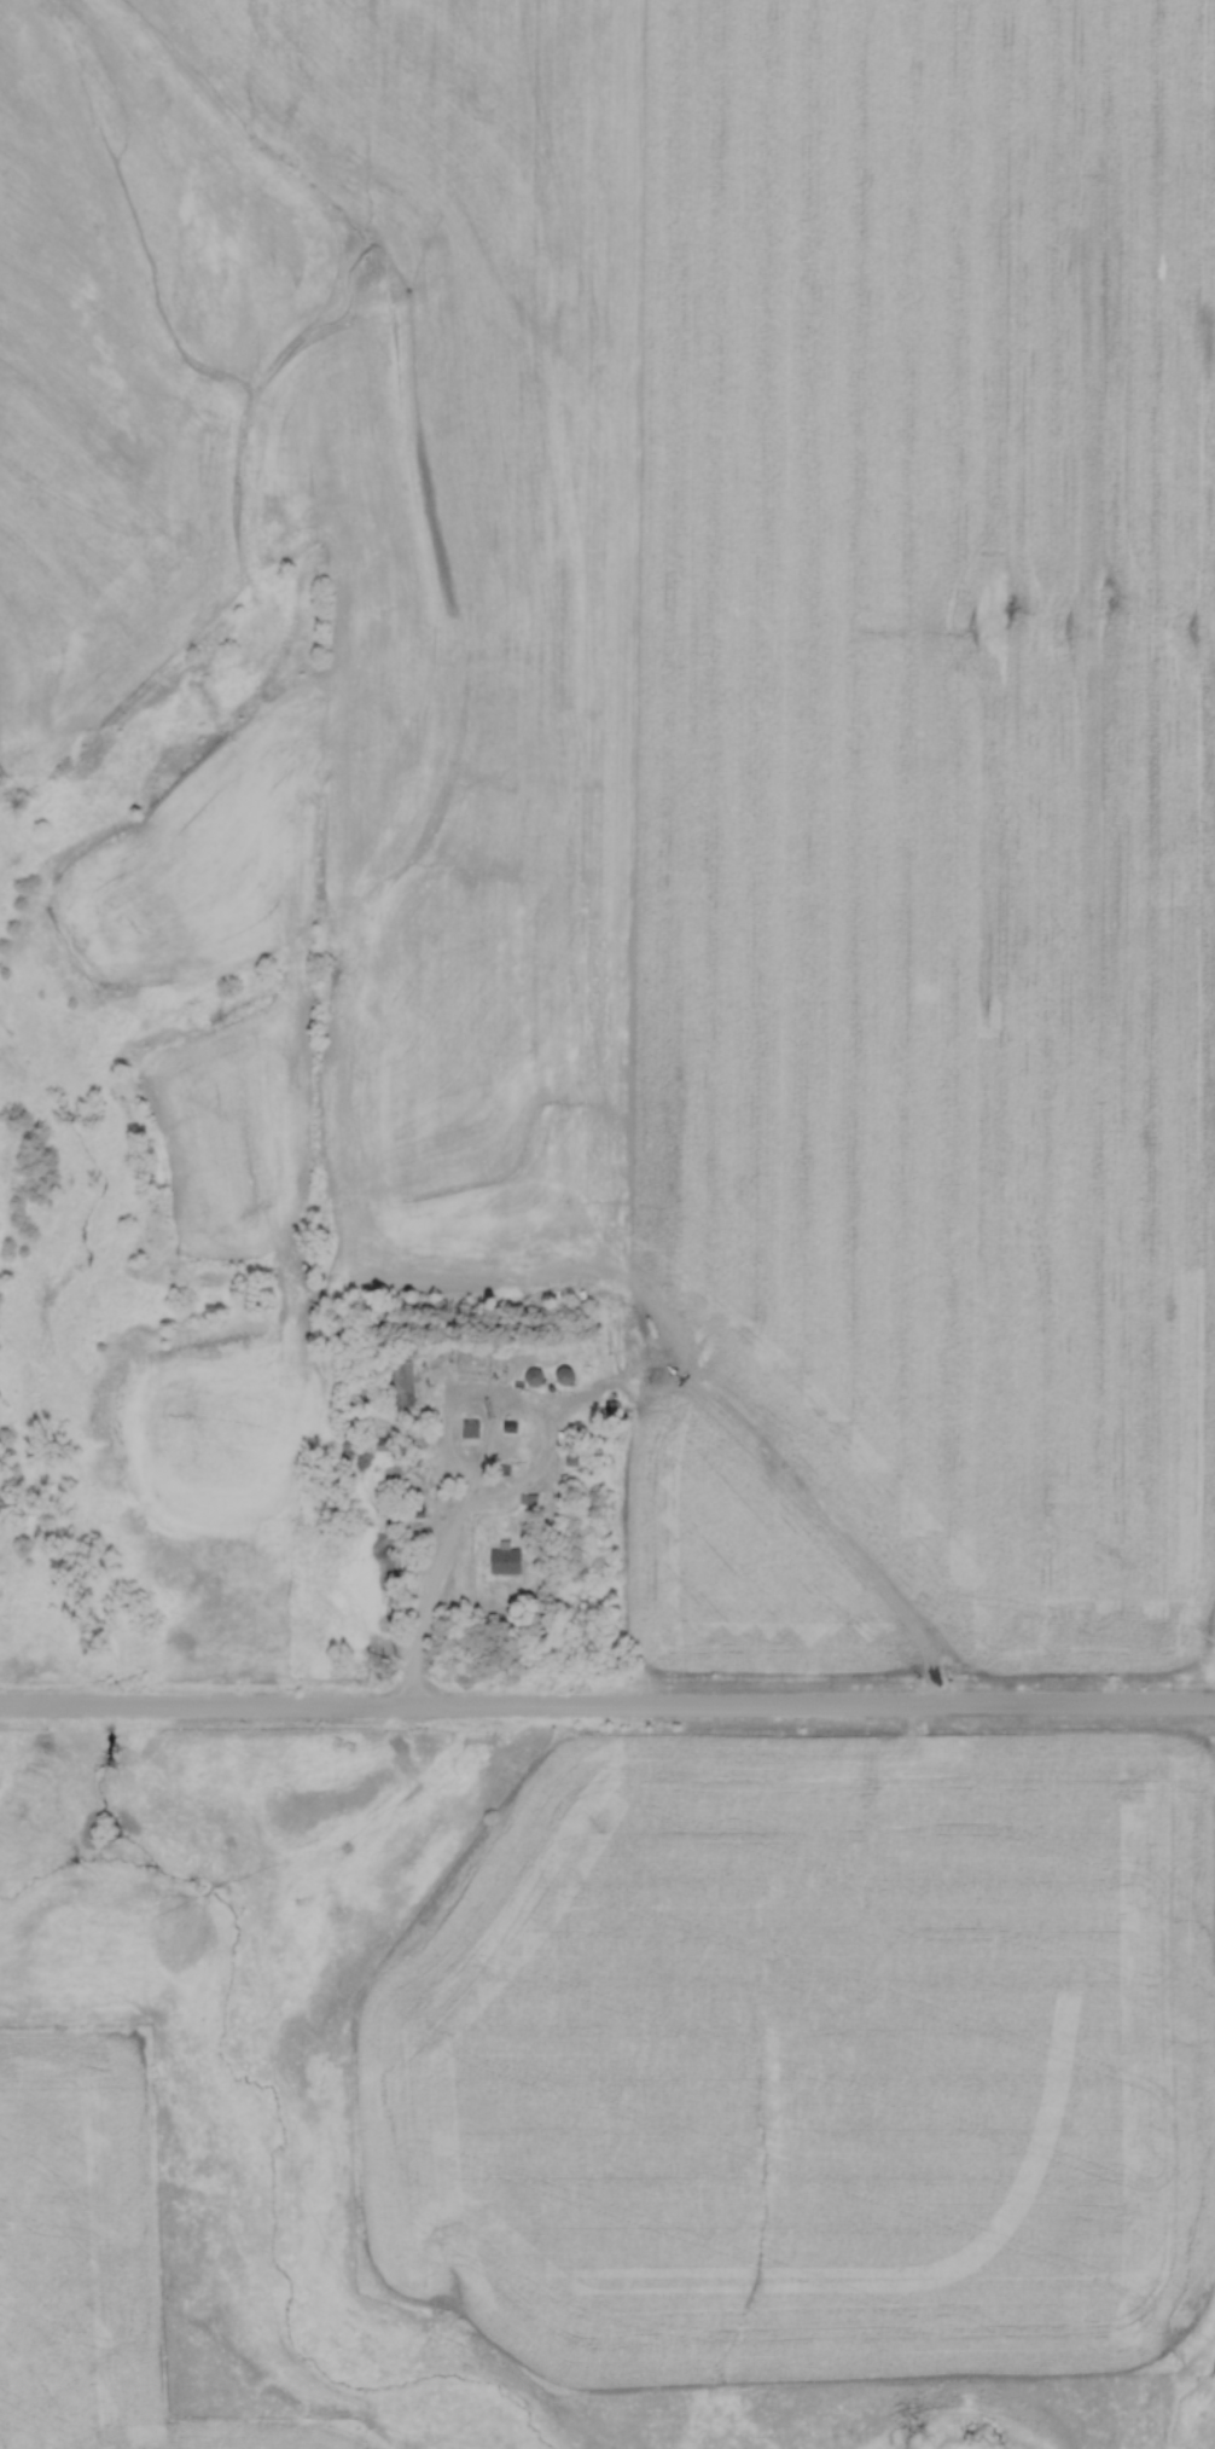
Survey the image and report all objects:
building: (533, 1376)
building: (564, 1376)
building: (406, 1377)
building: (611, 1409)
building: (470, 1432)
building: (575, 1443)
building: (507, 1562)
road: (431, 1579)
road: (607, 1708)

